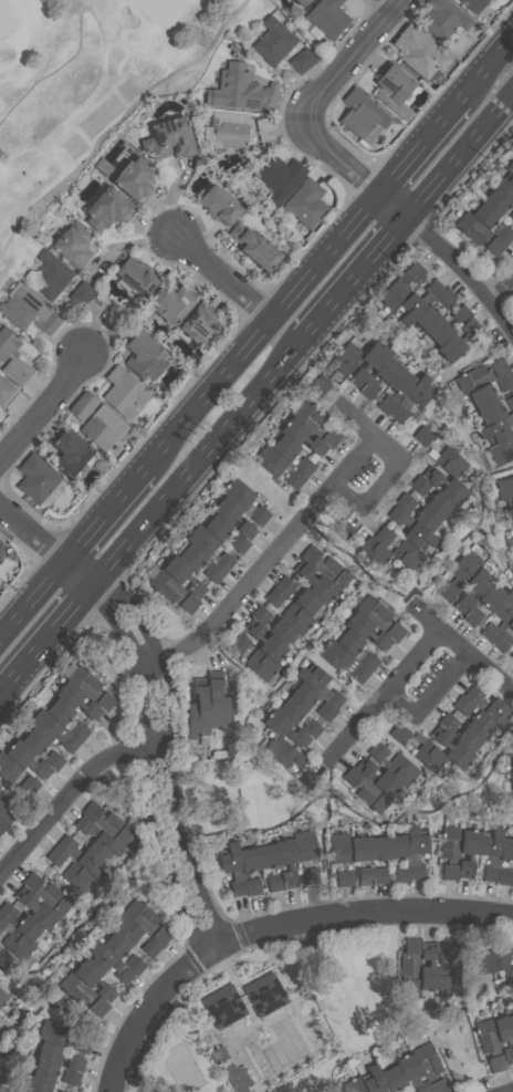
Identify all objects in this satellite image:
building: (300, 3)
road: (392, 3)
building: (475, 6)
building: (326, 19)
building: (442, 19)
building: (273, 40)
building: (419, 51)
building: (303, 60)
road: (349, 61)
road: (485, 63)
park: (91, 87)
building: (242, 90)
building: (394, 90)
building: (363, 116)
building: (230, 132)
building: (168, 138)
road: (415, 146)
road: (459, 158)
building: (510, 165)
road: (348, 174)
building: (279, 177)
building: (134, 179)
building: (503, 180)
building: (496, 199)
building: (305, 202)
building: (219, 204)
building: (105, 208)
building: (484, 214)
building: (511, 215)
building: (478, 232)
building: (503, 232)
building: (72, 243)
building: (255, 247)
road: (451, 259)
road: (216, 271)
building: (51, 274)
building: (135, 275)
road: (354, 279)
building: (398, 289)
road: (502, 290)
building: (82, 293)
building: (419, 299)
building: (170, 303)
building: (28, 309)
building: (433, 309)
road: (502, 320)
building: (199, 324)
building: (448, 324)
road: (254, 329)
building: (456, 341)
building: (144, 355)
building: (12, 357)
building: (368, 362)
building: (336, 365)
building: (379, 376)
building: (480, 376)
building: (396, 389)
building: (490, 389)
building: (4, 391)
building: (124, 393)
building: (411, 398)
building: (510, 403)
road: (46, 404)
building: (83, 405)
building: (491, 412)
building: (315, 423)
road: (357, 426)
building: (496, 428)
building: (101, 429)
building: (299, 434)
building: (422, 435)
building: (284, 447)
building: (501, 450)
building: (70, 451)
building: (270, 460)
road: (199, 461)
building: (452, 465)
building: (303, 467)
building: (35, 478)
building: (294, 478)
building: (419, 485)
building: (446, 485)
road: (380, 486)
building: (504, 488)
building: (237, 492)
building: (404, 501)
building: (438, 503)
building: (226, 509)
building: (507, 511)
road: (104, 512)
building: (259, 514)
building: (427, 518)
building: (216, 527)
building: (343, 528)
building: (410, 528)
building: (244, 529)
building: (202, 540)
building: (239, 542)
building: (1, 545)
road: (48, 545)
building: (398, 548)
building: (370, 549)
building: (189, 554)
road: (270, 555)
building: (223, 561)
building: (325, 566)
building: (213, 572)
building: (460, 573)
building: (182, 575)
building: (316, 582)
building: (284, 584)
building: (474, 587)
building: (172, 591)
building: (274, 596)
road: (32, 597)
building: (307, 602)
building: (484, 603)
building: (504, 609)
road: (138, 612)
building: (260, 614)
building: (379, 616)
building: (296, 617)
building: (511, 623)
building: (367, 631)
building: (490, 631)
building: (285, 634)
building: (501, 641)
road: (48, 642)
building: (266, 642)
building: (357, 648)
building: (512, 655)
building: (253, 657)
building: (343, 659)
road: (475, 661)
road: (149, 662)
building: (365, 666)
building: (87, 685)
building: (318, 685)
road: (385, 693)
building: (474, 693)
building: (304, 695)
road: (429, 697)
building: (77, 700)
building: (216, 700)
building: (462, 704)
building: (197, 707)
building: (291, 709)
building: (325, 710)
building: (500, 715)
building: (66, 718)
building: (310, 727)
building: (484, 727)
building: (285, 729)
building: (53, 730)
building: (459, 731)
building: (41, 748)
building: (279, 749)
building: (376, 750)
building: (422, 750)
building: (457, 752)
building: (27, 759)
building: (511, 762)
road: (148, 769)
building: (405, 772)
building: (380, 778)
building: (512, 778)
building: (19, 779)
building: (364, 789)
road: (70, 790)
building: (512, 800)
building: (0, 802)
road: (175, 807)
building: (4, 818)
building: (107, 823)
building: (96, 836)
building: (304, 844)
building: (359, 847)
building: (505, 849)
building: (415, 851)
building: (467, 851)
building: (449, 852)
building: (491, 853)
building: (55, 855)
building: (81, 855)
building: (266, 855)
building: (342, 855)
building: (399, 856)
building: (379, 857)
building: (248, 859)
building: (286, 861)
building: (232, 867)
building: (308, 875)
building: (364, 875)
building: (503, 875)
building: (77, 877)
building: (274, 882)
building: (251, 886)
building: (46, 893)
building: (38, 909)
road: (366, 914)
building: (147, 919)
building: (19, 921)
building: (127, 927)
building: (14, 940)
building: (116, 944)
building: (150, 946)
building: (494, 959)
building: (107, 960)
building: (134, 963)
building: (409, 964)
building: (428, 969)
building: (449, 970)
building: (507, 976)
building: (93, 978)
building: (265, 991)
building: (83, 994)
building: (2, 997)
road: (149, 1003)
building: (224, 1005)
building: (512, 1019)
building: (64, 1034)
building: (485, 1036)
building: (504, 1036)
building: (218, 1053)
building: (57, 1054)
building: (427, 1060)
building: (494, 1062)
building: (1, 1063)
building: (43, 1070)
building: (412, 1072)
building: (70, 1077)
building: (239, 1078)
building: (392, 1078)
building: (374, 1080)
building: (352, 1081)
building: (38, 1085)
building: (438, 1085)
building: (15, 1091)
building: (60, 1091)

